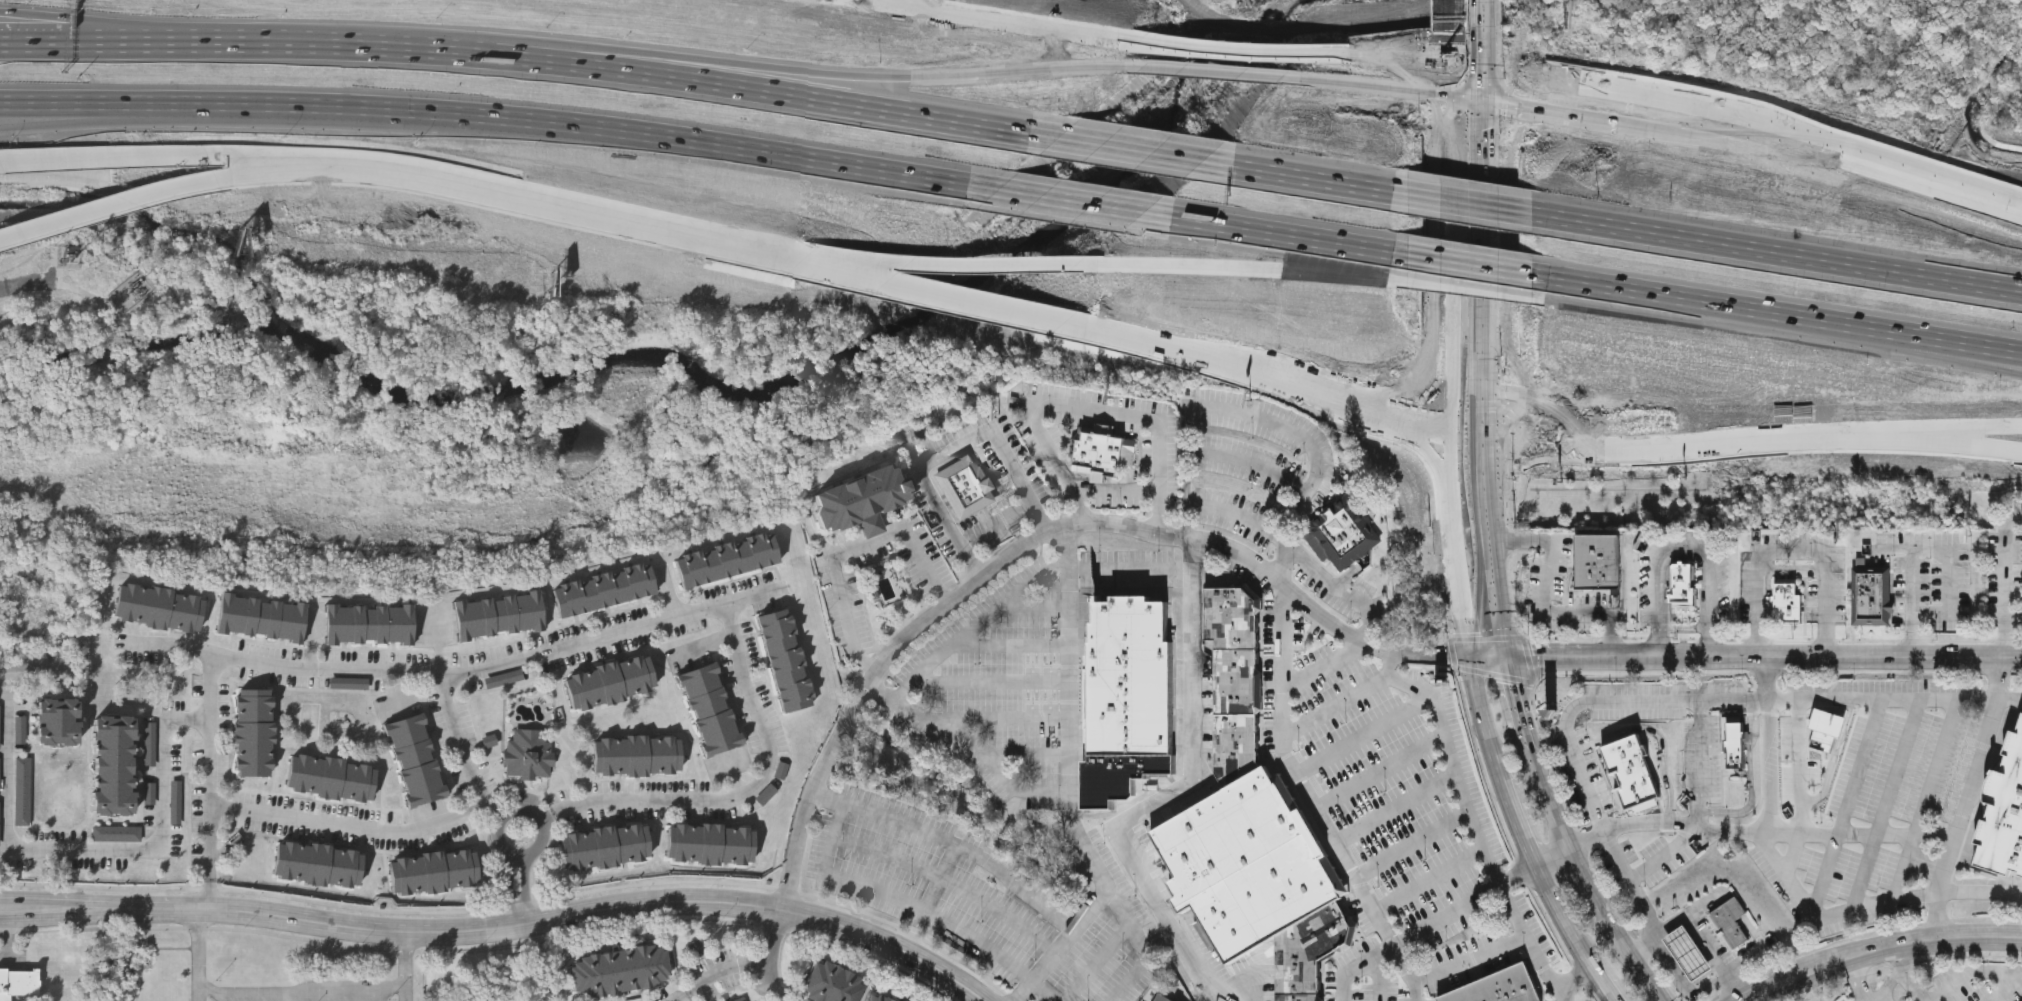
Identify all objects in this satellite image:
road: (1494, 14)
road: (1452, 16)
road: (993, 20)
road: (109, 23)
road: (109, 40)
road: (257, 40)
road: (1452, 49)
road: (1231, 50)
road: (1494, 51)
road: (1372, 60)
road: (721, 61)
road: (1237, 64)
road: (1435, 64)
traffic signals: (1452, 65)
road: (1473, 70)
road: (664, 73)
traffic signals: (1494, 75)
road: (1550, 85)
road: (1686, 113)
road: (74, 116)
road: (486, 117)
road: (1452, 118)
road: (1494, 125)
road: (1118, 145)
road: (1853, 153)
road: (103, 159)
road: (273, 160)
road: (286, 170)
road: (1305, 176)
road: (1980, 186)
road: (1980, 196)
road: (1071, 201)
road: (1471, 202)
road: (559, 203)
road: (117, 209)
road: (1452, 230)
road: (1284, 235)
road: (1493, 236)
road: (1779, 250)
road: (1465, 264)
road: (947, 269)
road: (1254, 273)
road: (26, 284)
road: (1469, 289)
road: (935, 292)
road: (1592, 295)
road: (1779, 313)
road: (1451, 334)
road: (1493, 342)
traffic signals: (1451, 379)
traffic signals: (1494, 387)
road: (1271, 388)
road: (1091, 406)
road: (1451, 415)
road: (1259, 417)
road: (1944, 434)
road: (1944, 443)
road: (1680, 446)
road: (950, 450)
building: (1103, 450)
road: (1473, 454)
road: (1252, 462)
road: (1504, 483)
building: (965, 487)
building: (861, 499)
road: (1226, 509)
road: (1452, 513)
road: (1497, 522)
building: (1342, 534)
road: (1791, 545)
building: (1599, 547)
road: (1685, 549)
road: (851, 552)
road: (1687, 556)
building: (727, 558)
road: (2004, 561)
road: (1007, 563)
road: (1949, 564)
road: (1119, 567)
building: (1599, 575)
road: (1330, 579)
parking lot: (1926, 579)
building: (1682, 586)
building: (604, 588)
parking lot: (1563, 591)
building: (1872, 595)
road: (1539, 603)
road: (1913, 603)
building: (1789, 604)
road: (1035, 605)
building: (158, 606)
building: (498, 614)
building: (261, 616)
road: (1461, 616)
road: (2013, 617)
building: (369, 622)
road: (974, 624)
road: (1683, 629)
road: (2003, 635)
road: (1011, 640)
road: (1429, 654)
road: (1765, 656)
road: (1487, 657)
traffic signals: (1508, 657)
building: (786, 658)
traffic signals: (1468, 658)
road: (1281, 659)
road: (1323, 664)
road: (39, 665)
road: (6, 671)
road: (456, 675)
road: (1769, 677)
building: (505, 679)
road: (990, 679)
building: (610, 681)
building: (1234, 681)
building: (350, 683)
road: (2010, 697)
building: (1130, 698)
road: (1605, 698)
road: (1905, 698)
road: (1521, 703)
building: (711, 708)
road: (1483, 718)
building: (58, 722)
building: (1826, 722)
building: (0, 730)
building: (21, 730)
building: (254, 732)
road: (1364, 734)
road: (1657, 734)
building: (1733, 737)
building: (151, 744)
road: (462, 746)
road: (1799, 751)
building: (529, 754)
building: (637, 755)
road: (1835, 757)
building: (415, 759)
road: (1699, 761)
road: (1394, 764)
road: (1455, 765)
building: (115, 766)
road: (1772, 766)
road: (210, 767)
building: (1633, 771)
building: (0, 775)
building: (331, 777)
road: (1756, 779)
road: (749, 788)
road: (1061, 788)
building: (23, 792)
road: (1167, 792)
building: (767, 795)
road: (1553, 795)
road: (1926, 797)
road: (1847, 802)
road: (1887, 802)
building: (177, 803)
road: (1397, 806)
building: (2004, 812)
road: (498, 814)
road: (549, 816)
road: (1960, 817)
road: (1801, 819)
road: (1514, 820)
building: (0, 827)
road: (351, 828)
building: (118, 834)
road: (1335, 835)
road: (1859, 835)
road: (1413, 843)
building: (711, 844)
building: (606, 846)
road: (89, 848)
road: (1551, 852)
road: (1664, 852)
road: (531, 853)
road: (1093, 863)
building: (319, 864)
building: (1247, 865)
road: (993, 866)
building: (435, 871)
road: (1585, 877)
road: (953, 880)
road: (1430, 880)
road: (1790, 880)
road: (516, 890)
road: (1505, 893)
road: (1637, 894)
road: (209, 895)
road: (903, 899)
road: (1708, 900)
road: (1736, 908)
building: (1732, 921)
road: (1559, 923)
road: (503, 928)
road: (1696, 935)
road: (7, 939)
road: (1705, 940)
road: (1683, 944)
road: (1147, 947)
building: (697, 948)
road: (1491, 949)
road: (1880, 949)
road: (1759, 950)
building: (1309, 952)
building: (1688, 952)
gas station: (1688, 952)
road: (1708, 952)
road: (1669, 953)
road: (199, 955)
road: (1633, 955)
road: (752, 960)
road: (1694, 961)
road: (1405, 964)
road: (405, 966)
road: (1358, 967)
building: (619, 969)
road: (1680, 970)
road: (1902, 975)
road: (1971, 975)
road: (1381, 978)
road: (773, 979)
road: (1858, 979)
road: (1568, 982)
road: (1681, 982)
building: (19, 983)
building: (831, 983)
building: (1498, 987)
road: (1888, 988)
road: (1045, 990)
road: (1603, 990)
road: (2007, 991)
road: (300, 993)
road: (686, 995)
building: (879, 996)
building: (1161, 998)
building: (741, 999)

